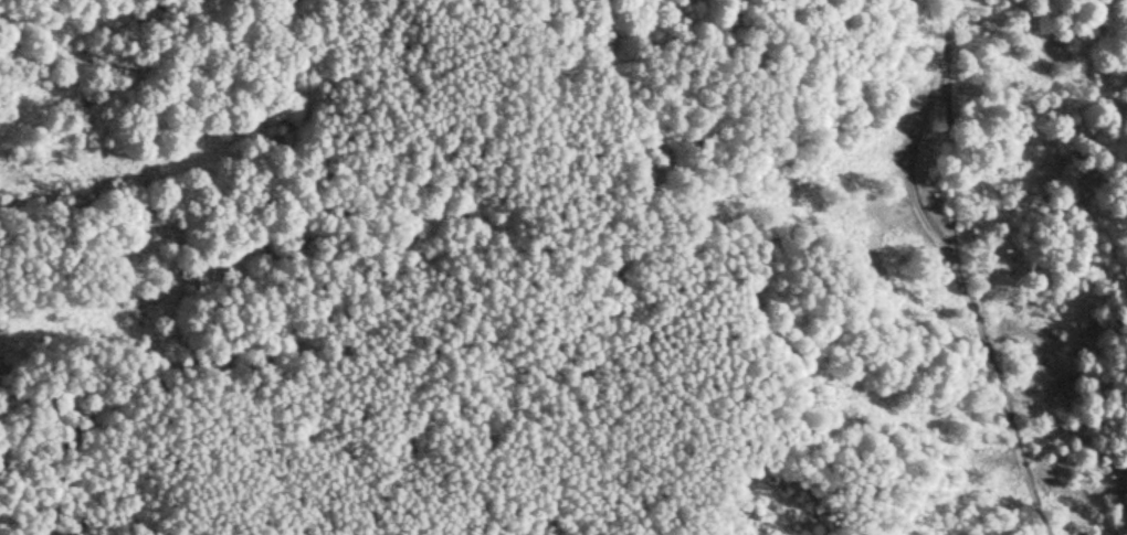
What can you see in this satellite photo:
road: (296, 263)
road: (957, 264)
road: (761, 470)

